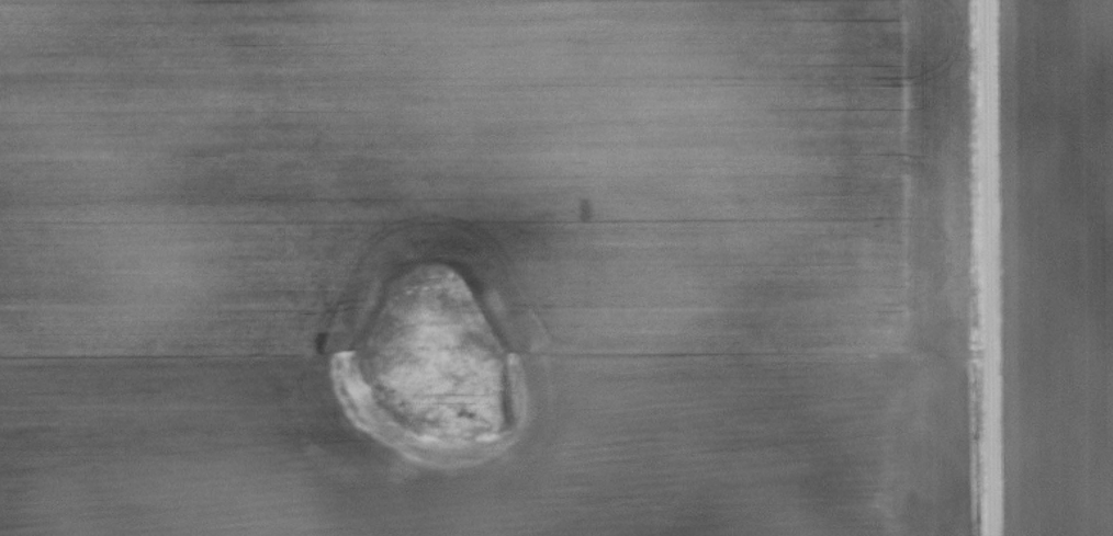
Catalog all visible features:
road: (990, 267)

